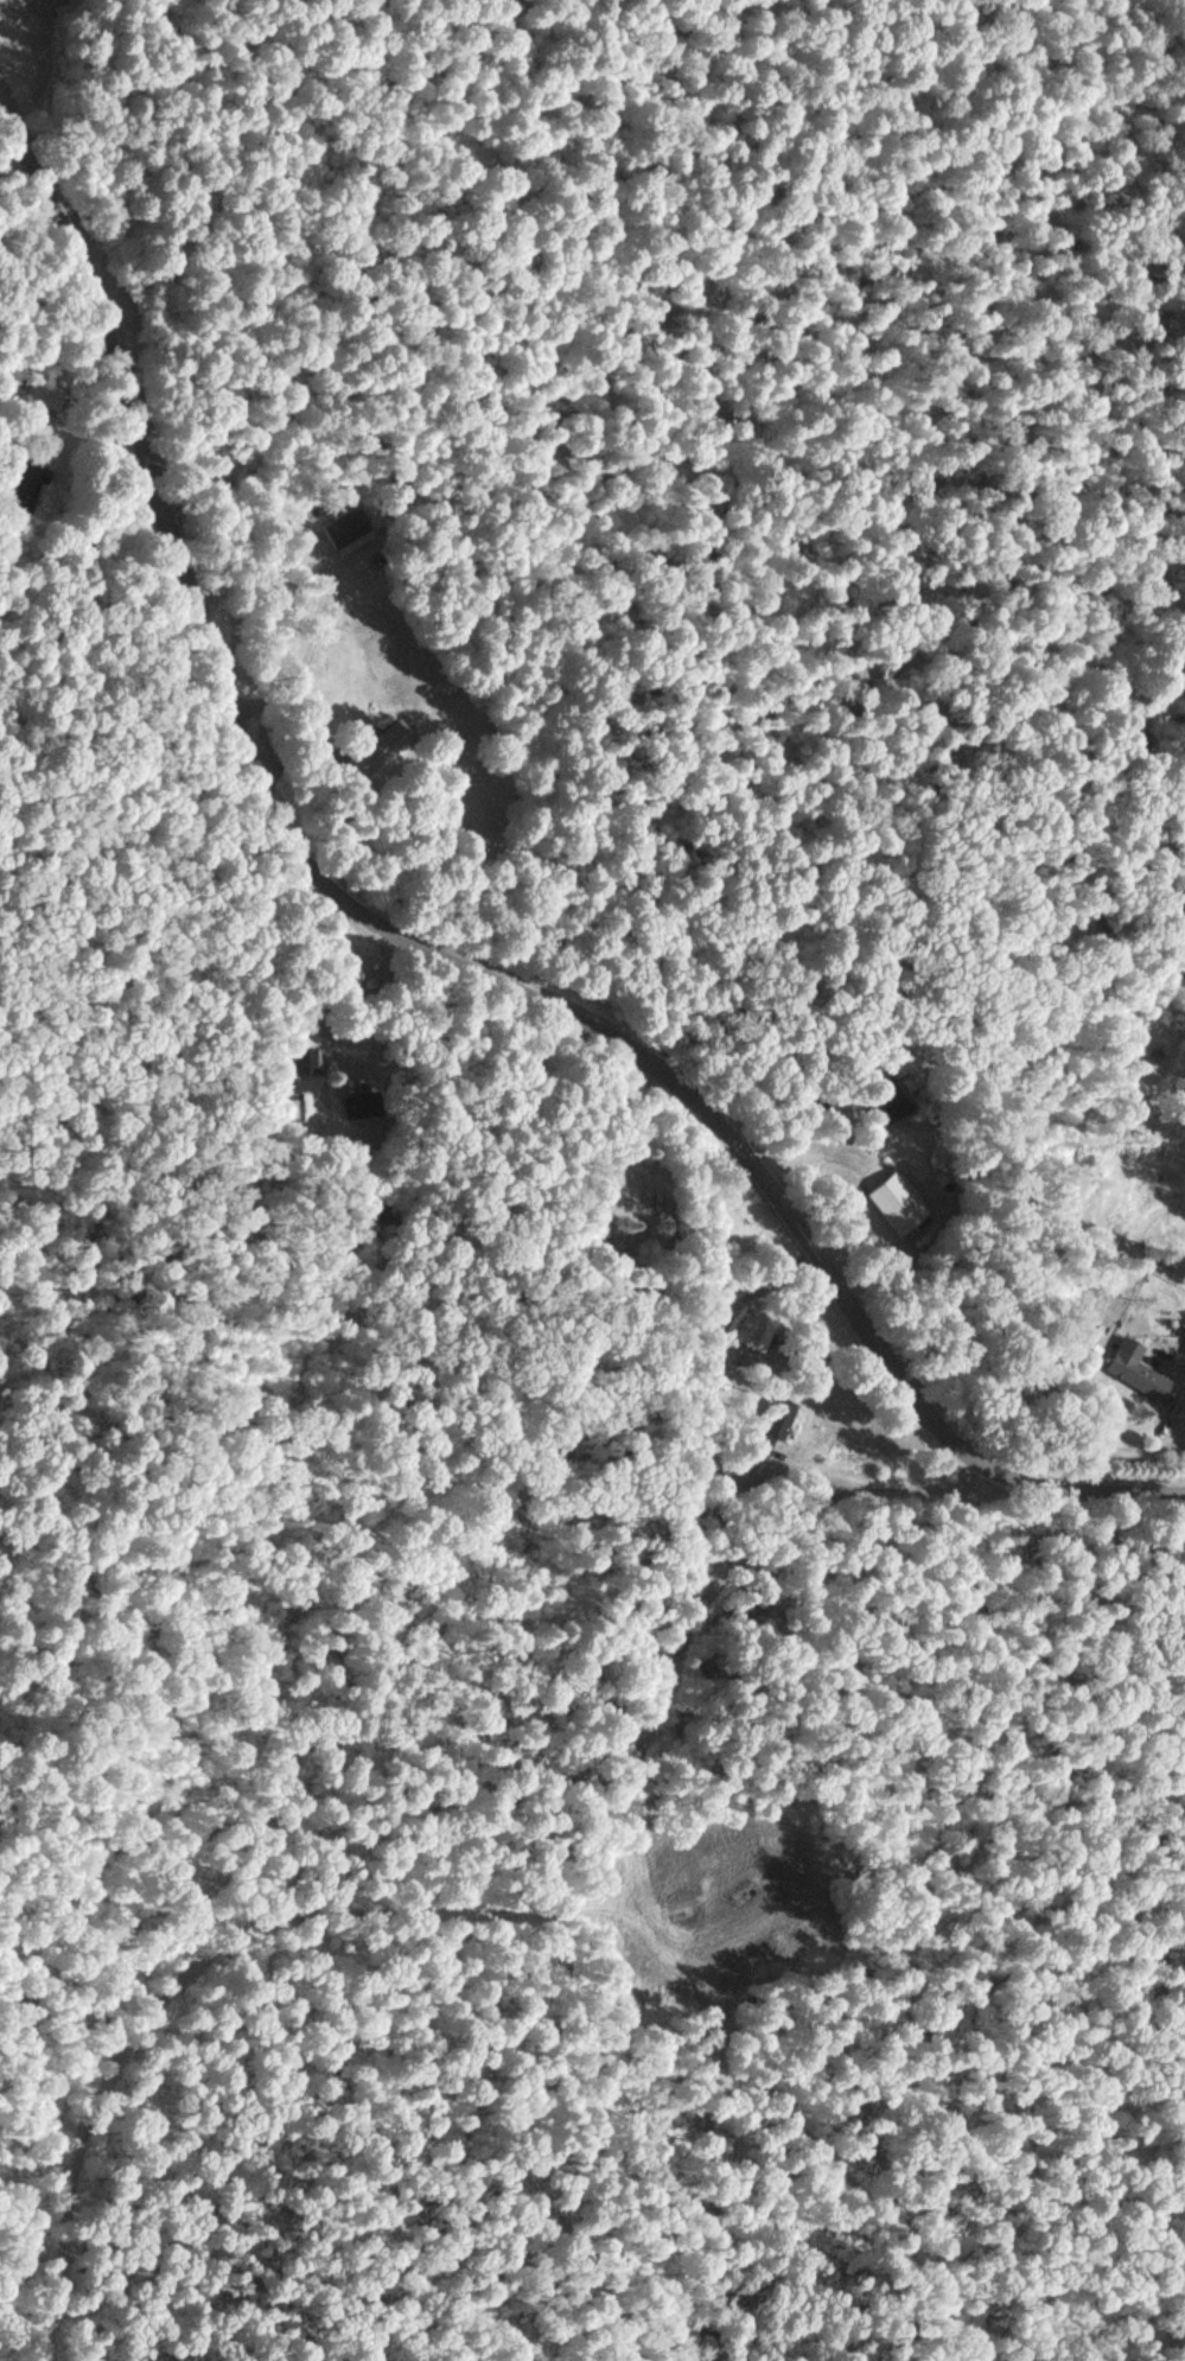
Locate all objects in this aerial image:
building: (66, 9)
building: (46, 394)
building: (28, 483)
building: (348, 527)
building: (369, 758)
road: (333, 895)
building: (301, 1068)
building: (893, 1097)
building: (367, 1103)
building: (899, 1202)
building: (598, 1248)
building: (1133, 1369)
building: (772, 1426)
road: (727, 1468)
road: (1078, 1489)
road: (288, 1916)

